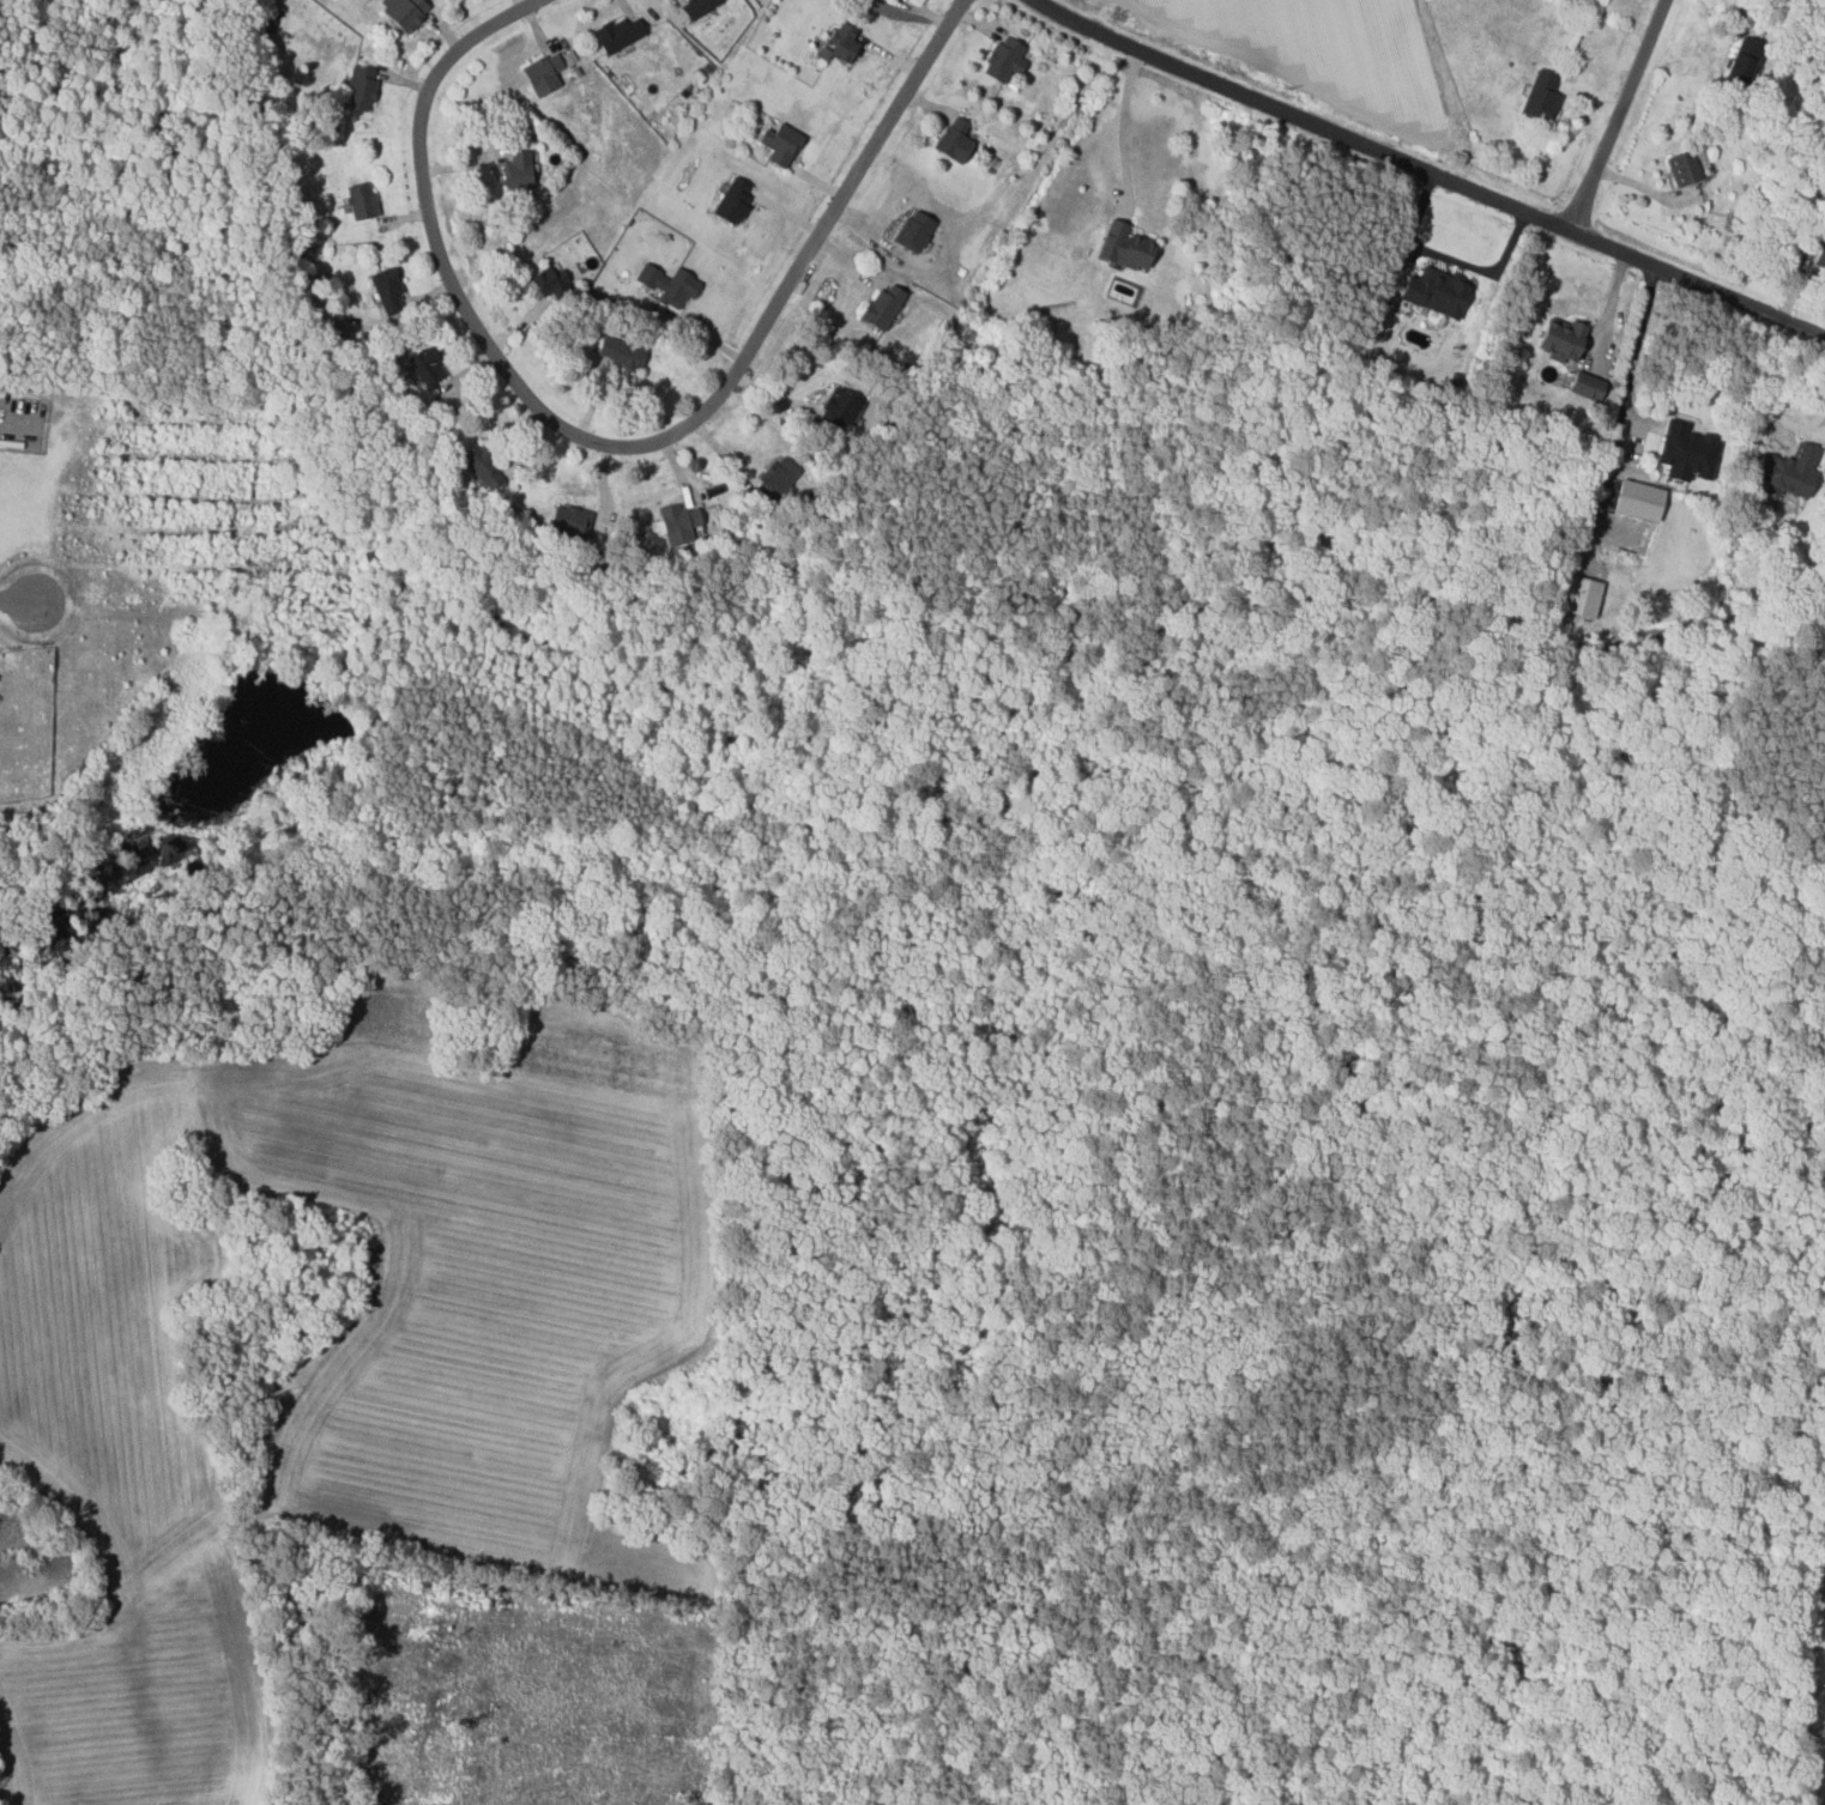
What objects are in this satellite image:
building: (696, 6)
building: (406, 11)
building: (621, 30)
building: (845, 40)
building: (1007, 57)
building: (1747, 57)
building: (548, 69)
building: (359, 91)
building: (1543, 95)
road: (1615, 115)
road: (1124, 134)
building: (956, 138)
building: (782, 141)
building: (1686, 166)
building: (518, 169)
road: (1425, 175)
building: (363, 199)
building: (735, 199)
building: (917, 229)
building: (1128, 244)
road: (1446, 258)
building: (1821, 258)
building: (555, 275)
building: (669, 283)
building: (388, 287)
building: (1439, 290)
building: (884, 304)
building: (1565, 338)
building: (618, 351)
road: (1628, 358)
building: (422, 368)
road: (1767, 381)
building: (1589, 384)
building: (841, 407)
road: (615, 442)
building: (1690, 449)
building: (483, 462)
building: (778, 478)
building: (1632, 497)
building: (572, 520)
building: (681, 522)
building: (1584, 596)
road: (14, 600)

